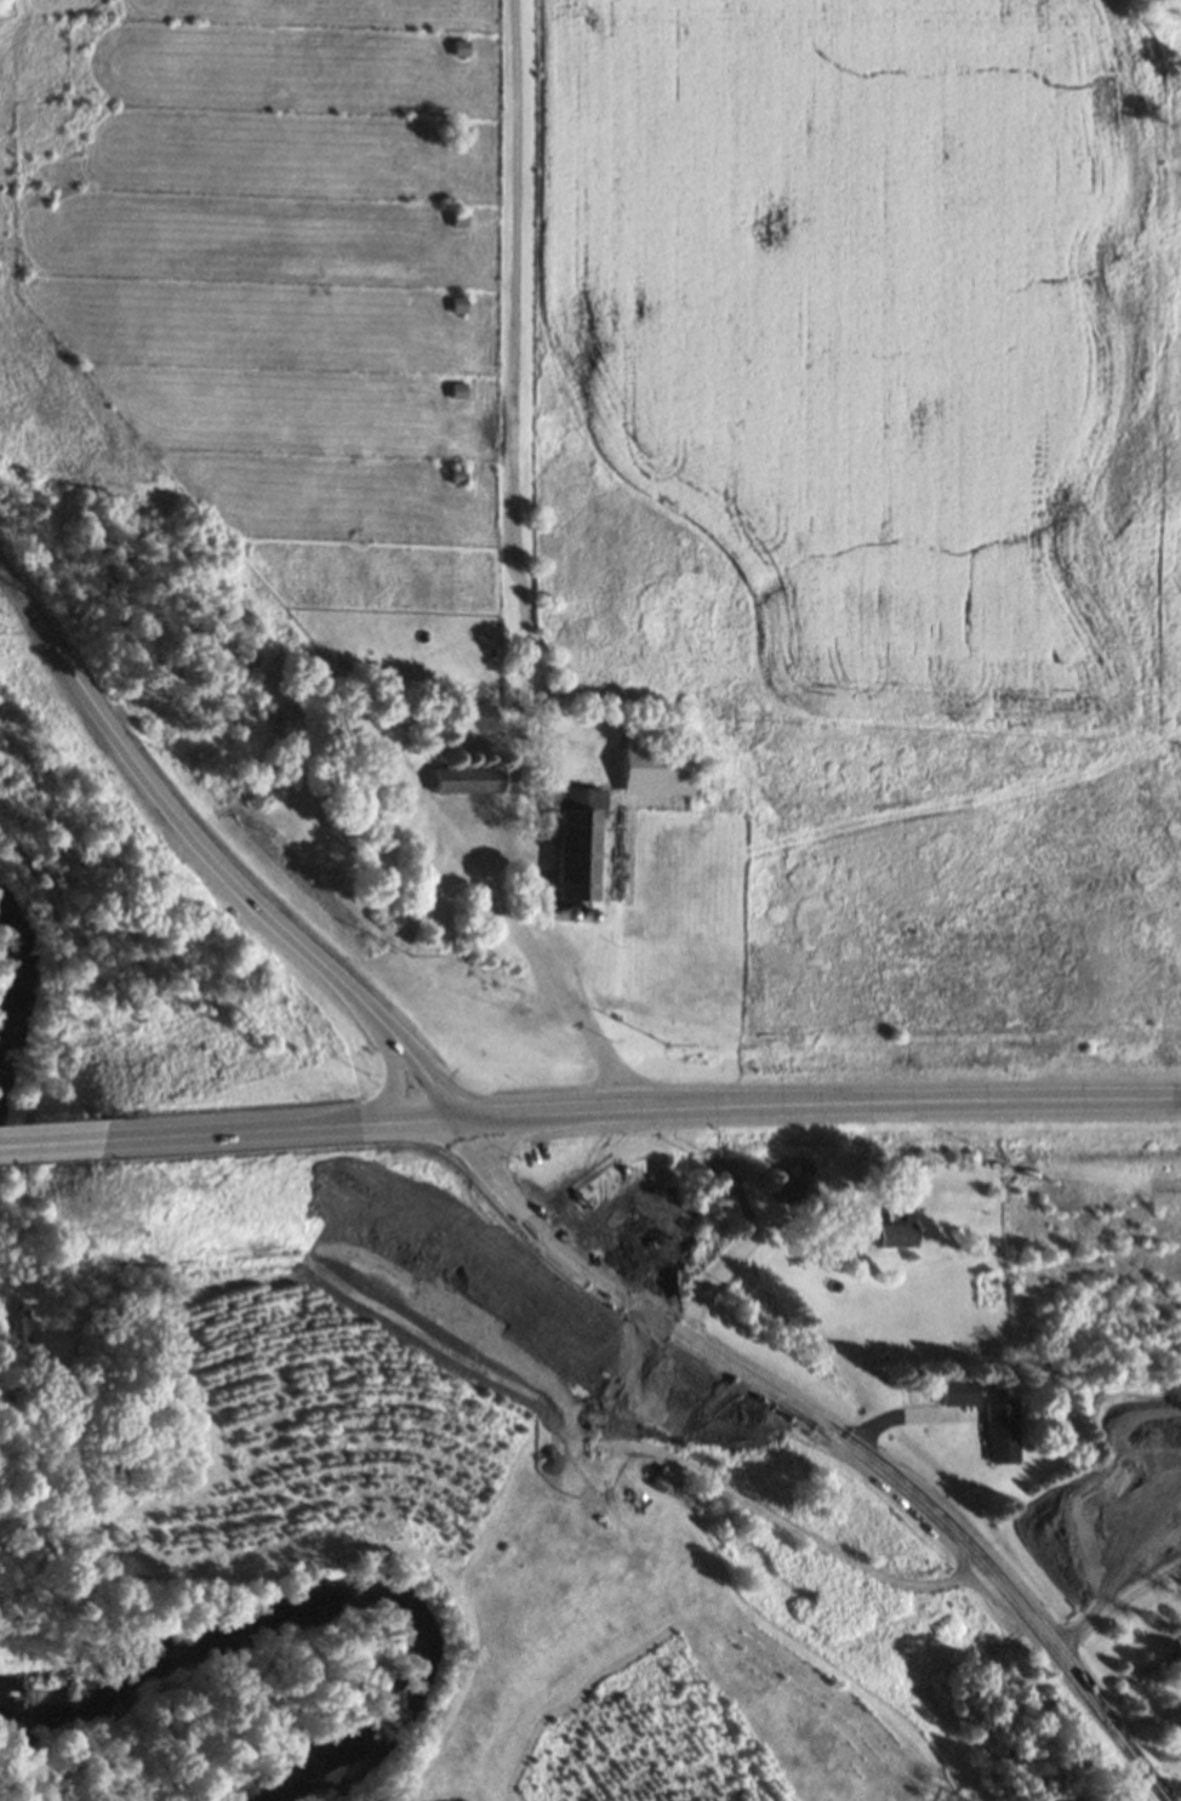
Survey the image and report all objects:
building: (458, 49)
building: (458, 220)
building: (458, 306)
building: (460, 475)
crop: (633, 506)
building: (474, 714)
building: (656, 770)
building: (464, 779)
road: (166, 800)
building: (574, 843)
river: (10, 993)
road: (415, 1033)
road: (384, 1054)
road: (428, 1077)
road: (552, 1098)
road: (892, 1102)
road: (335, 1118)
road: (565, 1129)
road: (181, 1135)
road: (344, 1142)
road: (42, 1144)
building: (793, 1182)
road: (514, 1186)
road: (496, 1214)
building: (896, 1235)
building: (18, 1327)
building: (958, 1391)
building: (1002, 1431)
road: (886, 1471)
road: (814, 1541)
river: (343, 1585)

